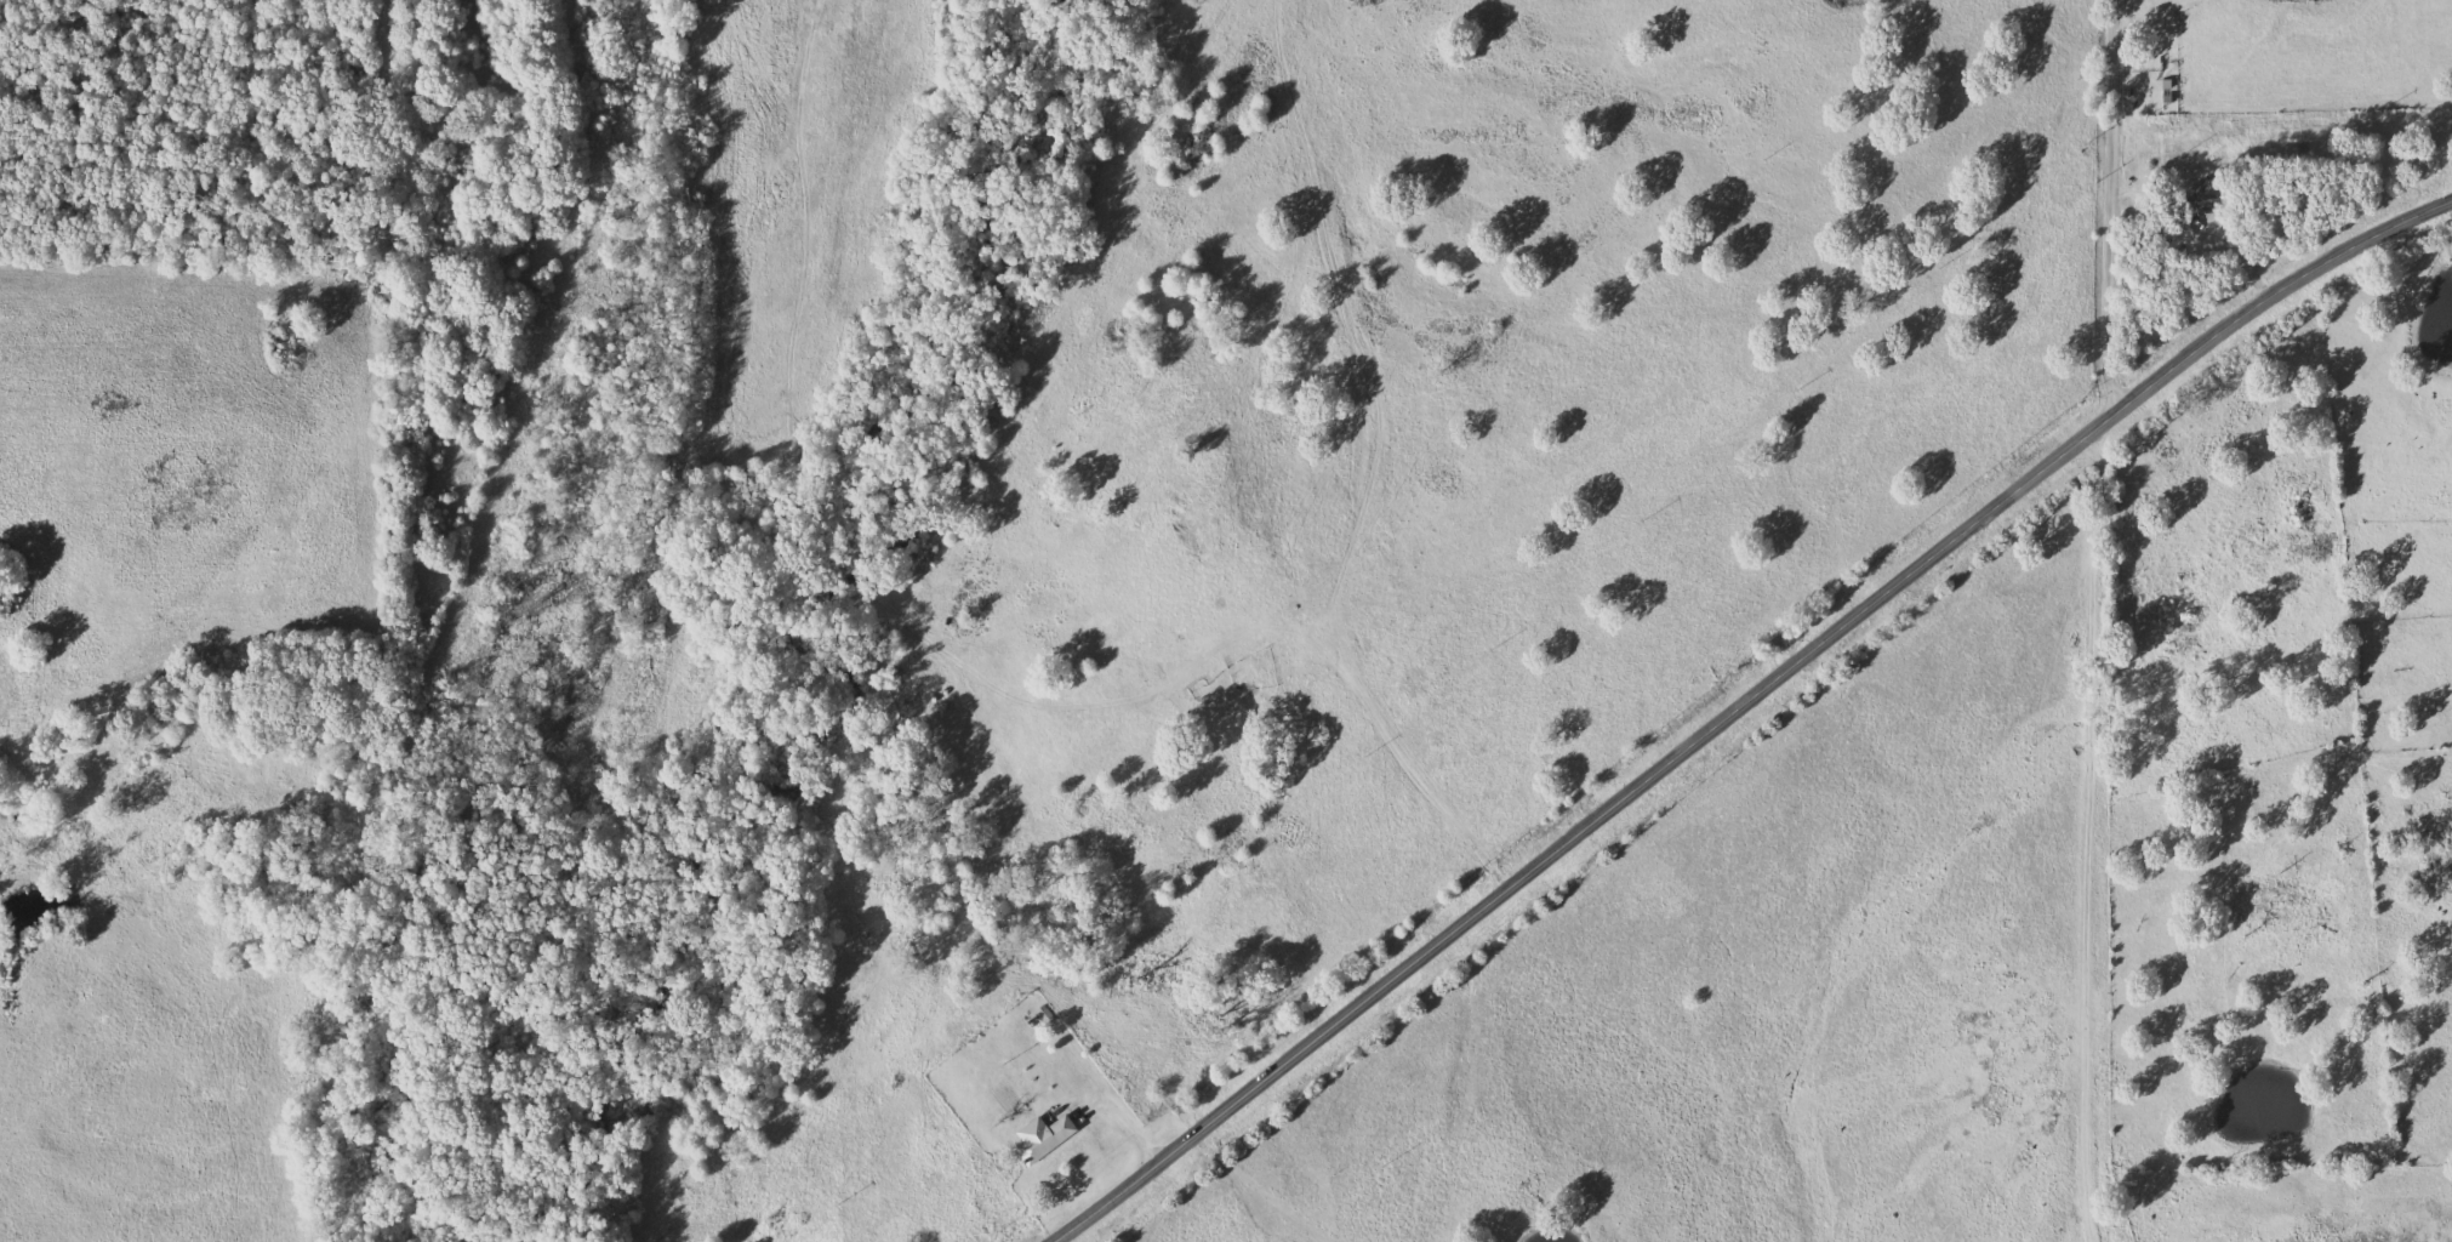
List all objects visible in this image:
road: (2064, 41)
building: (2200, 200)
road: (2112, 203)
road: (1733, 702)
road: (2088, 830)
building: (1047, 1136)

